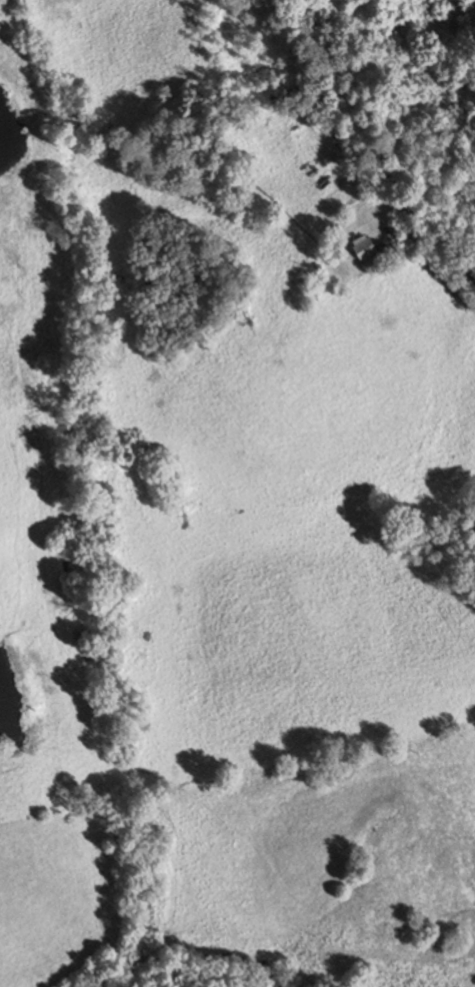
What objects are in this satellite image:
road: (375, 146)

